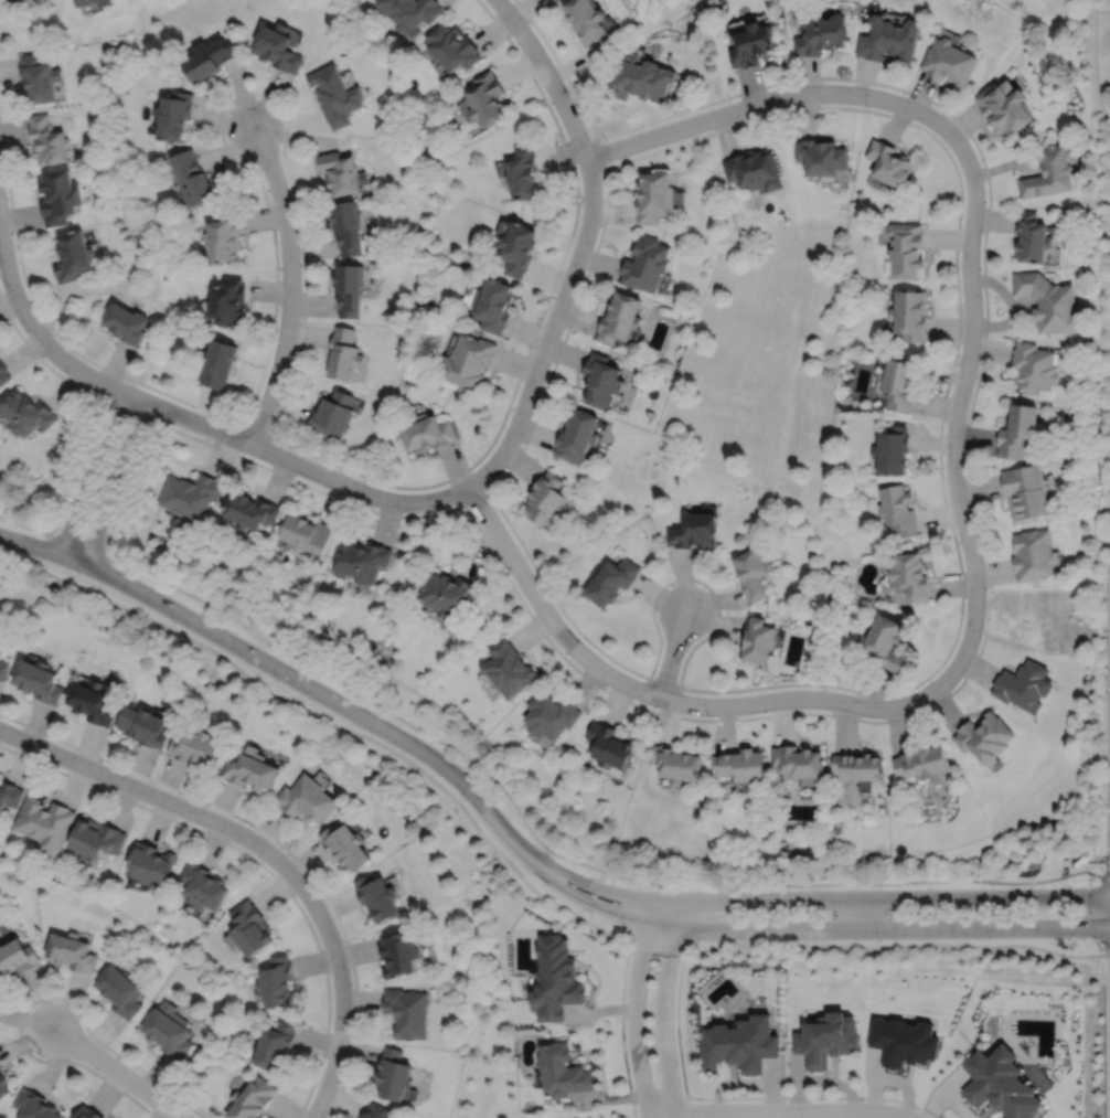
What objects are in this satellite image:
building: (35, 1)
building: (84, 2)
building: (105, 2)
park: (685, 6)
road: (1102, 10)
building: (410, 12)
park: (1066, 13)
building: (587, 19)
street lamp: (529, 23)
building: (820, 33)
building: (888, 39)
building: (754, 43)
building: (452, 46)
building: (279, 47)
building: (212, 57)
building: (949, 61)
road: (1095, 67)
building: (39, 77)
building: (641, 78)
road: (568, 81)
road: (252, 93)
building: (334, 95)
building: (487, 97)
street lamp: (730, 99)
street lamp: (868, 108)
building: (1005, 108)
building: (175, 115)
street lamp: (950, 117)
street lamp: (284, 128)
street lamp: (606, 139)
building: (47, 141)
building: (821, 156)
road: (982, 161)
building: (888, 163)
building: (756, 170)
building: (339, 172)
building: (524, 173)
building: (1049, 173)
building: (194, 178)
building: (58, 196)
building: (655, 196)
street lamp: (960, 225)
building: (346, 227)
building: (226, 236)
building: (1032, 238)
building: (516, 246)
building: (906, 251)
building: (73, 257)
building: (647, 264)
street lamp: (301, 265)
street lamp: (584, 273)
road: (290, 284)
building: (349, 289)
building: (230, 302)
building: (1049, 302)
building: (494, 306)
building: (909, 316)
building: (621, 319)
building: (127, 324)
road: (43, 340)
building: (634, 348)
building: (343, 354)
street lamp: (957, 355)
building: (469, 362)
building: (221, 364)
building: (1035, 368)
street lamp: (291, 372)
building: (3, 374)
building: (602, 382)
building: (897, 384)
street lamp: (542, 390)
road: (105, 398)
road: (524, 405)
road: (131, 411)
building: (25, 414)
building: (332, 414)
street lamp: (168, 422)
building: (1018, 430)
building: (428, 434)
building: (578, 437)
street lamp: (277, 443)
building: (892, 448)
road: (939, 458)
road: (92, 473)
street lamp: (943, 476)
street lamp: (494, 480)
road: (117, 483)
road: (402, 487)
building: (1025, 490)
building: (191, 494)
road: (476, 497)
building: (546, 498)
building: (897, 508)
building: (248, 509)
road: (960, 510)
street lamp: (402, 513)
street lamp: (116, 519)
road: (23, 524)
building: (693, 529)
building: (306, 532)
road: (77, 545)
building: (1033, 553)
building: (362, 560)
building: (751, 571)
street lamp: (78, 574)
building: (909, 574)
building: (610, 579)
street lamp: (540, 581)
street lamp: (697, 584)
road: (513, 586)
building: (447, 593)
road: (1107, 601)
street lamp: (963, 614)
street lamp: (173, 622)
building: (757, 639)
building: (883, 641)
building: (0, 647)
road: (672, 653)
building: (508, 668)
building: (3, 669)
road: (280, 670)
street lamp: (1103, 674)
building: (39, 680)
street lamp: (277, 680)
road: (663, 682)
building: (1024, 684)
street lamp: (607, 686)
street lamp: (825, 689)
building: (93, 701)
street lamp: (927, 707)
building: (551, 715)
street lamp: (709, 717)
building: (143, 725)
street lamp: (373, 735)
building: (984, 736)
building: (611, 746)
building: (195, 748)
building: (797, 762)
building: (674, 763)
building: (921, 763)
building: (740, 765)
building: (856, 766)
building: (249, 769)
building: (10, 795)
building: (306, 799)
street lamp: (463, 799)
street lamp: (1106, 812)
building: (45, 824)
building: (98, 839)
road: (277, 841)
building: (344, 847)
road: (267, 851)
road: (563, 856)
building: (151, 863)
road: (517, 871)
road: (1108, 879)
street lamp: (545, 884)
street lamp: (993, 886)
building: (202, 887)
street lamp: (879, 887)
street lamp: (767, 888)
street lamp: (700, 890)
building: (377, 898)
road: (814, 898)
road: (1107, 916)
street lamp: (626, 927)
building: (249, 928)
road: (809, 928)
street lamp: (990, 939)
street lamp: (697, 940)
street lamp: (880, 940)
street lamp: (772, 941)
street lamp: (1100, 950)
building: (72, 952)
road: (1109, 954)
building: (397, 955)
building: (17, 959)
building: (556, 980)
building: (276, 982)
building: (120, 992)
street lamp: (674, 1007)
road: (636, 1008)
road: (664, 1008)
building: (406, 1013)
road: (622, 1025)
street lamp: (626, 1026)
building: (168, 1031)
road: (1109, 1035)
building: (825, 1041)
building: (904, 1043)
building: (739, 1045)
building: (274, 1046)
building: (0, 1067)
road: (117, 1071)
building: (564, 1073)
building: (394, 1076)
building: (1000, 1085)
building: (3, 1089)
road: (737, 1097)
building: (252, 1099)
road: (685, 1105)
building: (34, 1106)
street lamp: (915, 1109)
building: (375, 1111)
road: (777, 1111)
building: (87, 1114)

